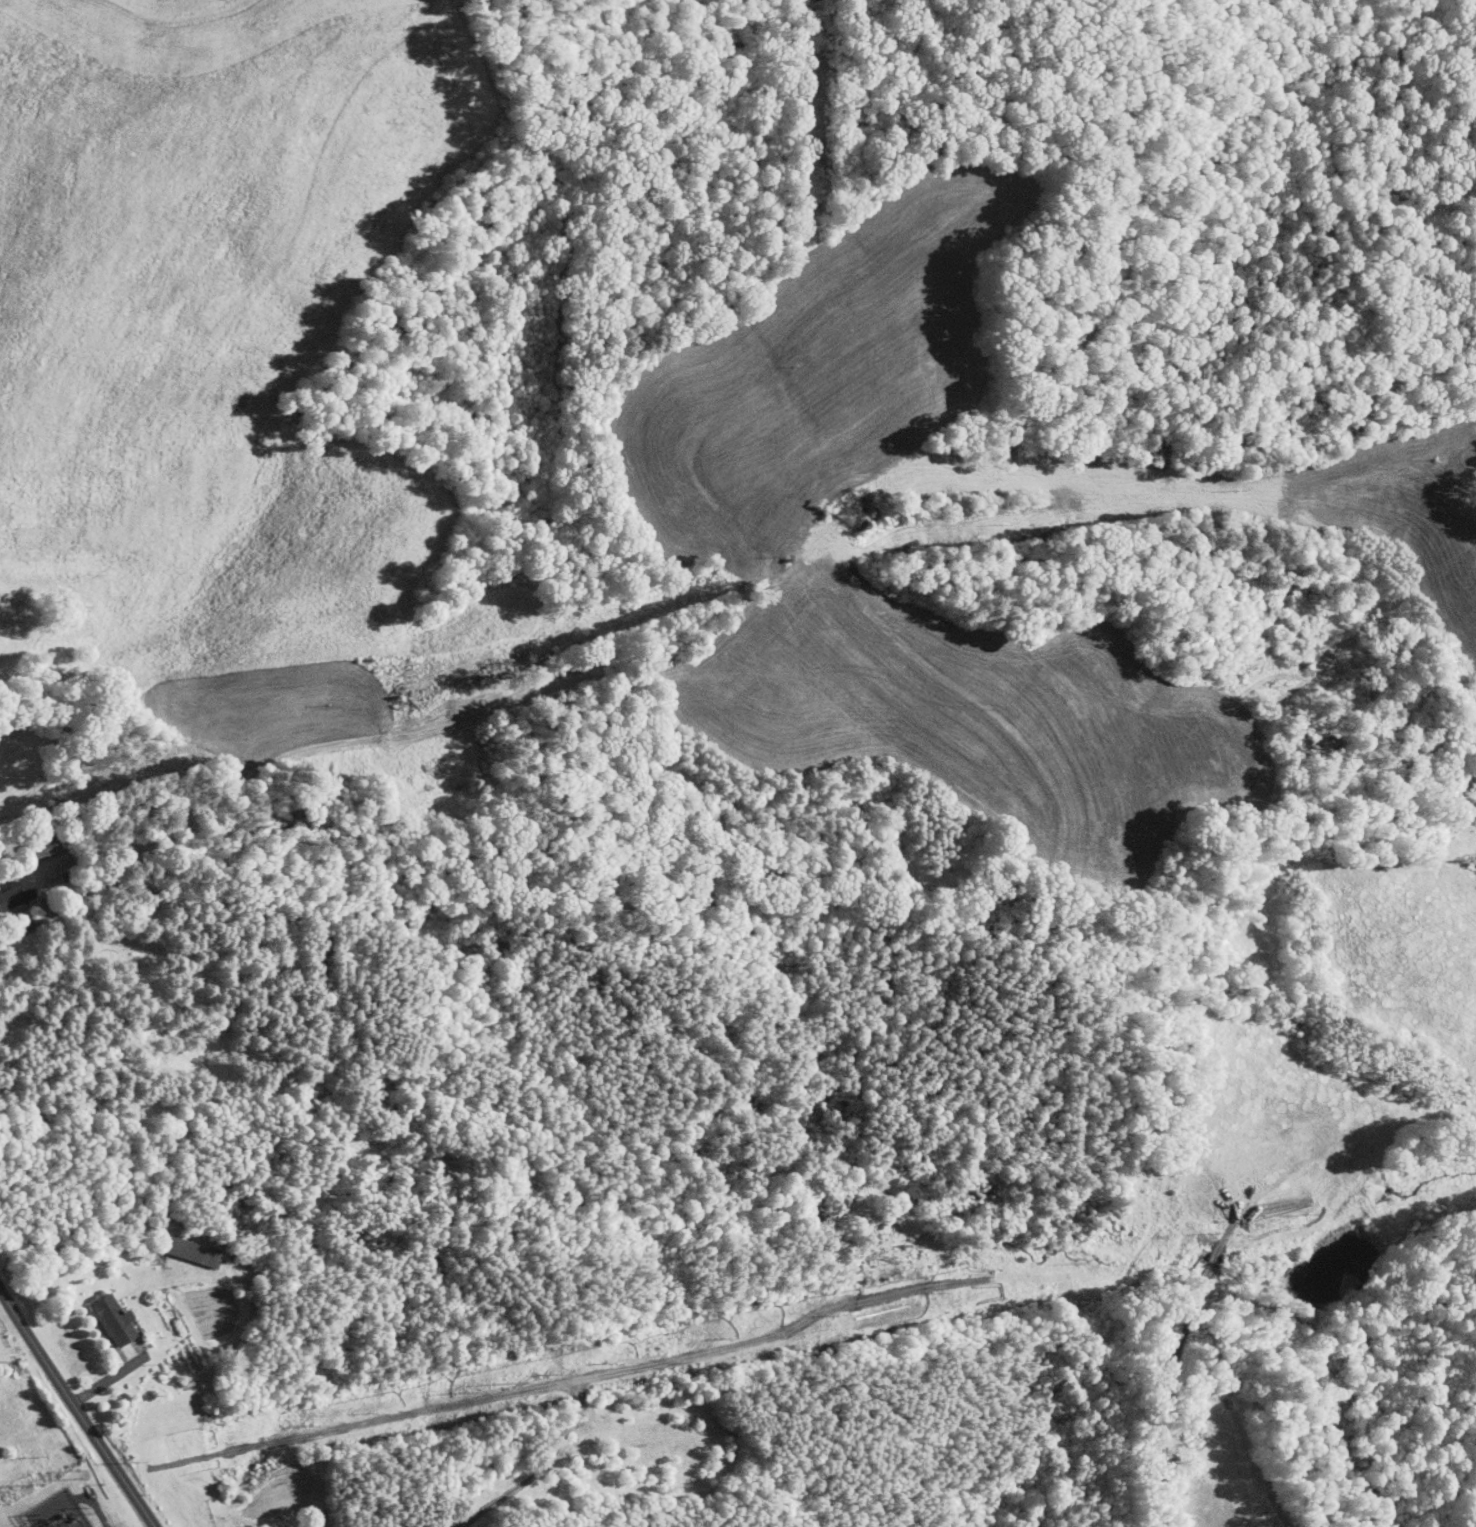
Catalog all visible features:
building: (30, 842)
building: (40, 848)
building: (62, 865)
building: (9, 885)
building: (14, 893)
road: (15, 930)
building: (178, 1244)
building: (110, 1320)
road: (76, 1410)
power tower: (137, 1462)
power tower: (79, 1474)
power tower: (36, 1483)
power substation: (58, 1512)

